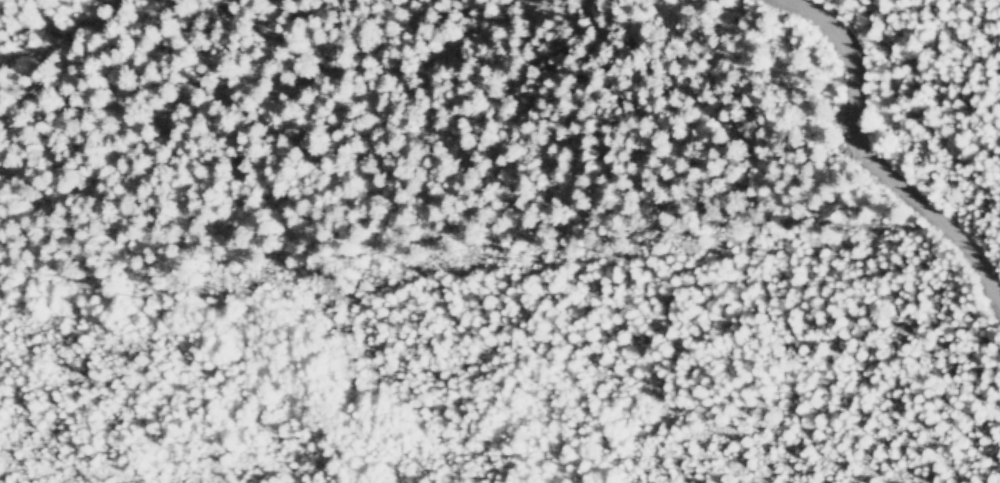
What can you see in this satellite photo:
road: (880, 158)

